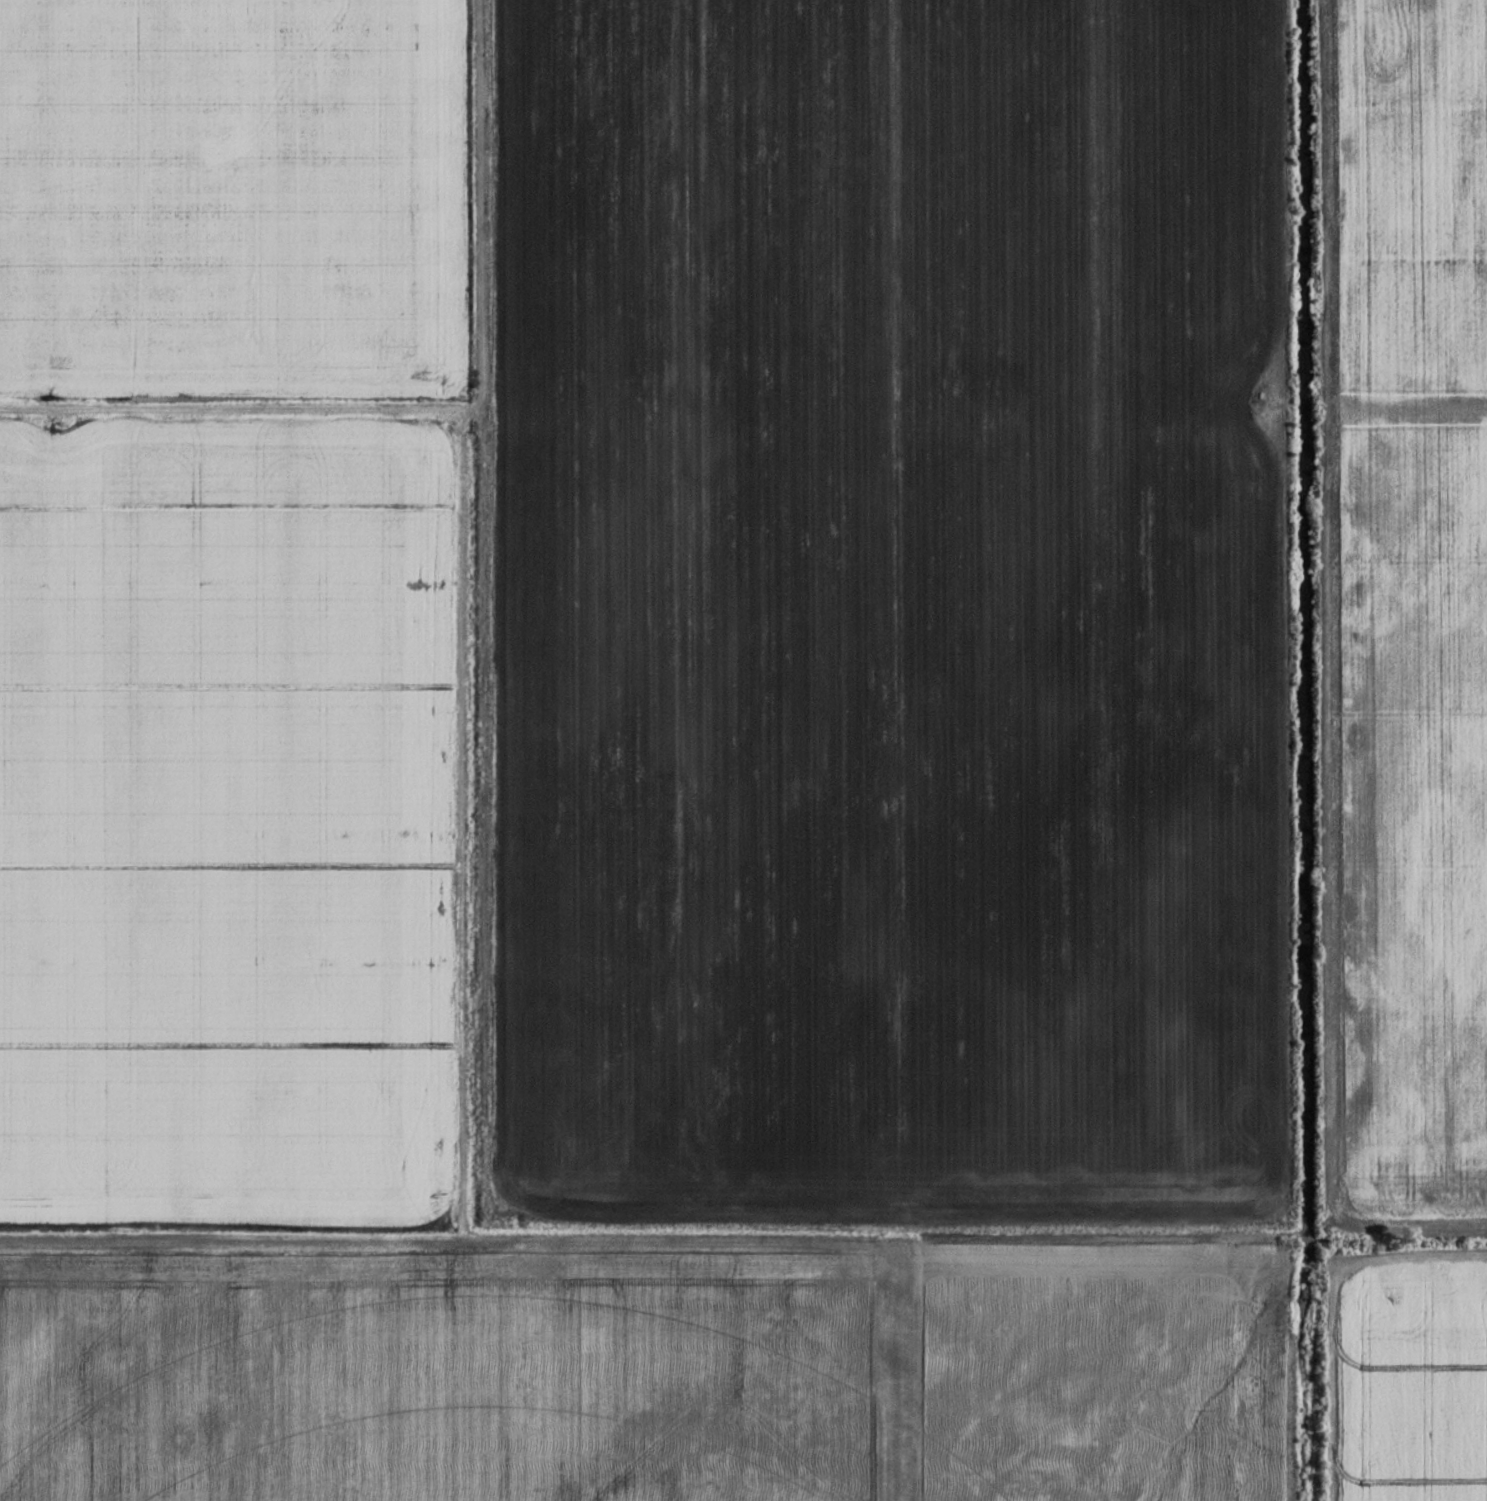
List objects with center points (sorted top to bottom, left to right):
airport runway: (891, 1374)

